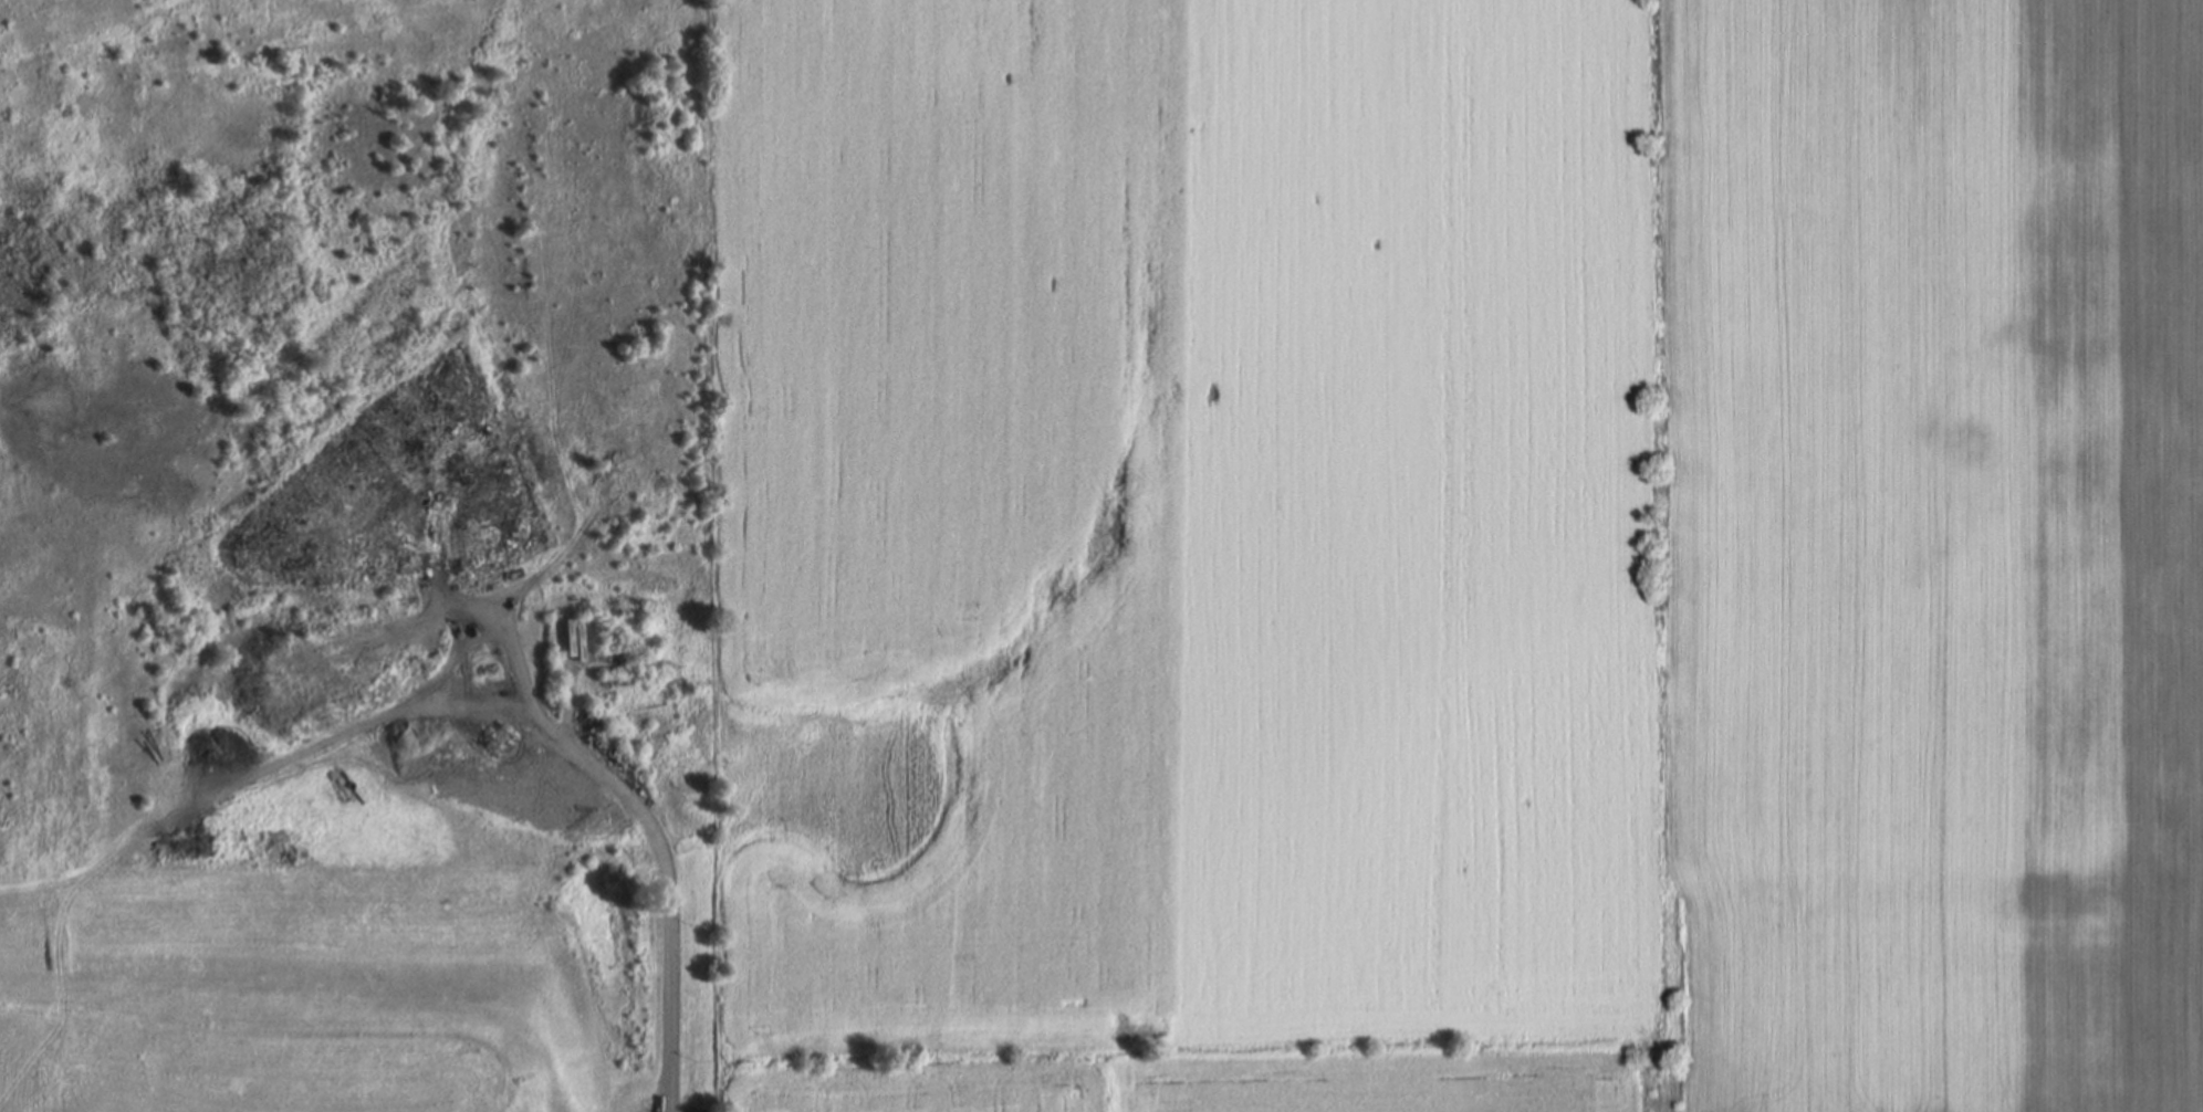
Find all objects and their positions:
landfill: (358, 557)
road: (670, 895)
road: (1668, 950)
road: (1433, 1031)

